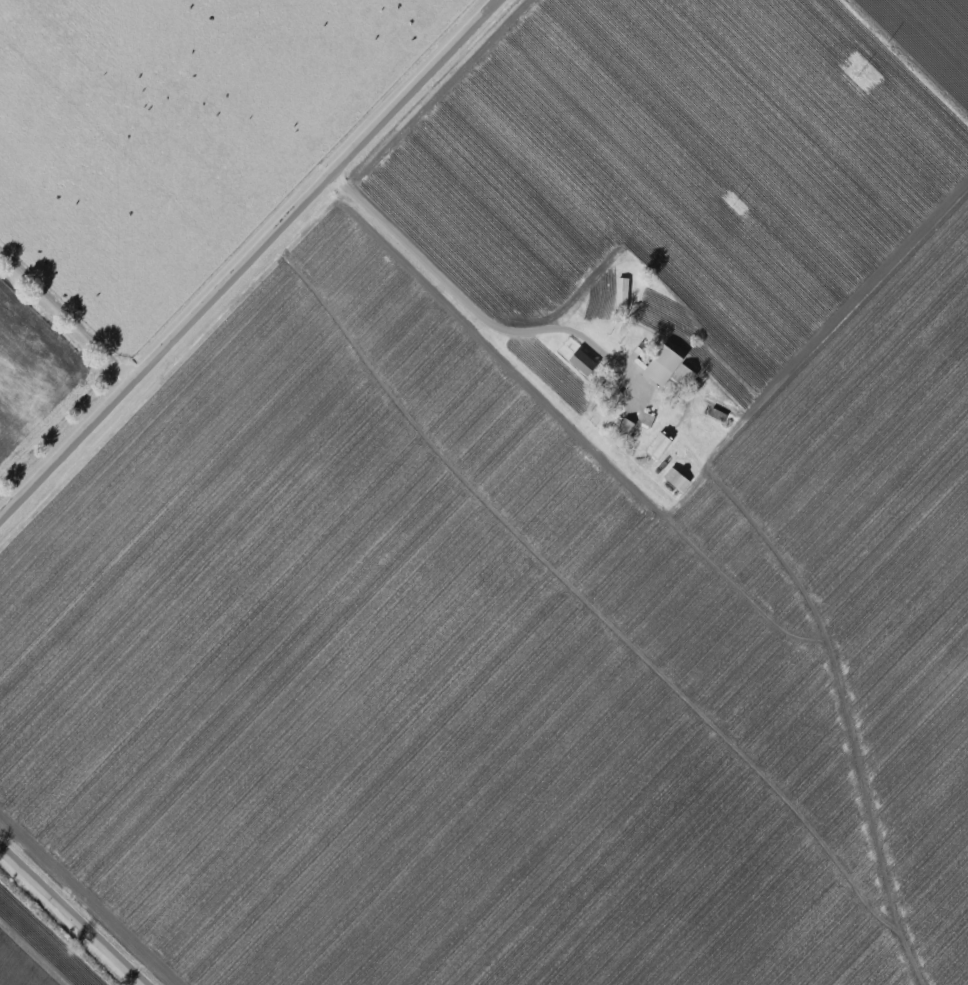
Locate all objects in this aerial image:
road: (903, 62)
road: (249, 259)
road: (474, 307)
road: (67, 313)
building: (581, 361)
building: (661, 364)
building: (679, 373)
building: (657, 445)
building: (675, 478)
road: (74, 914)

